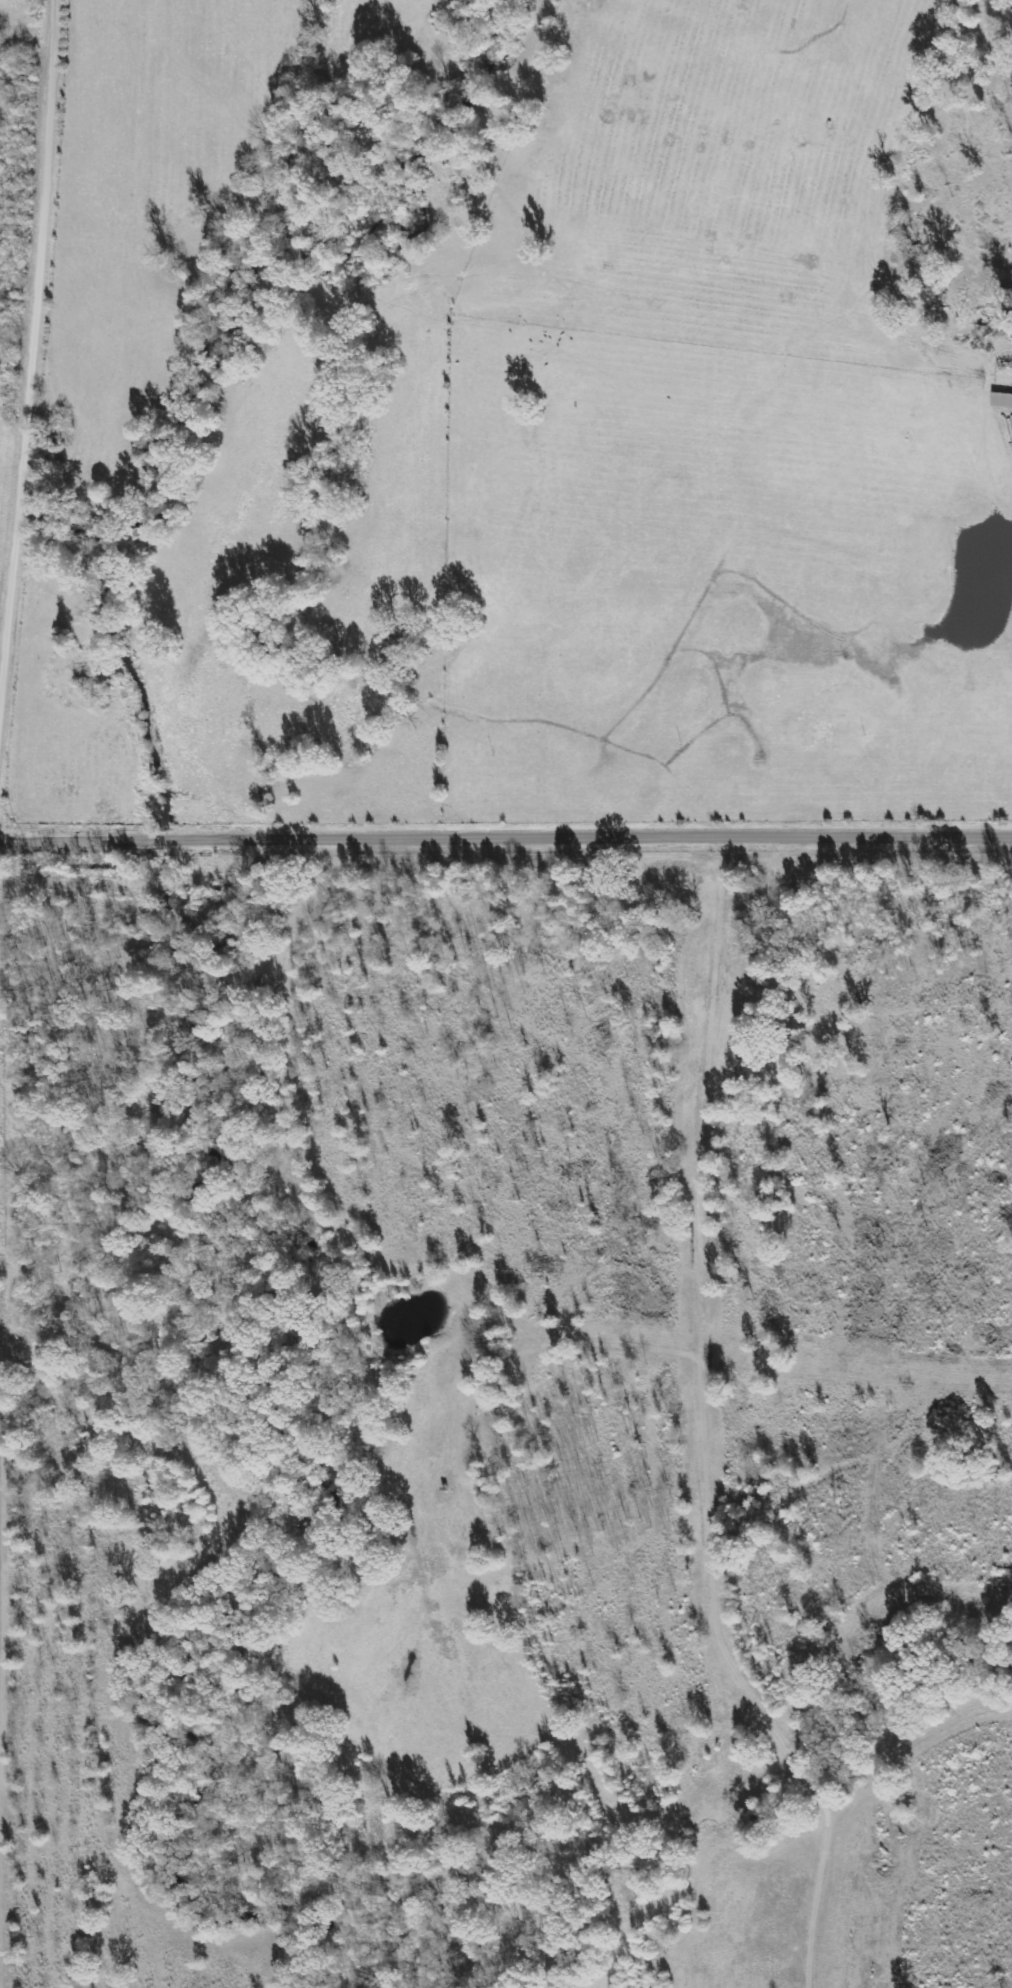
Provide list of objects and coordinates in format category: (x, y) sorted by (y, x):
road: (36, 382)
building: (1003, 400)
road: (506, 834)

